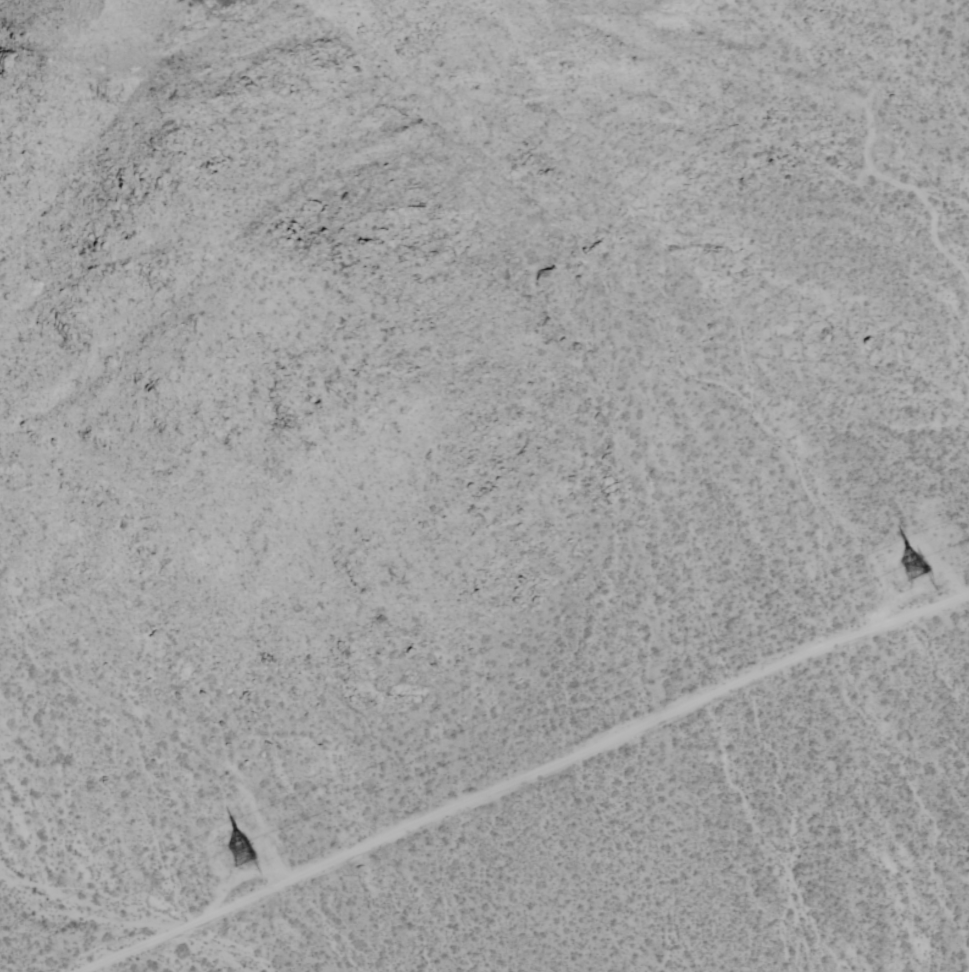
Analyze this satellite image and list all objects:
power tower: (916, 568)
road: (517, 780)
power tower: (242, 855)

